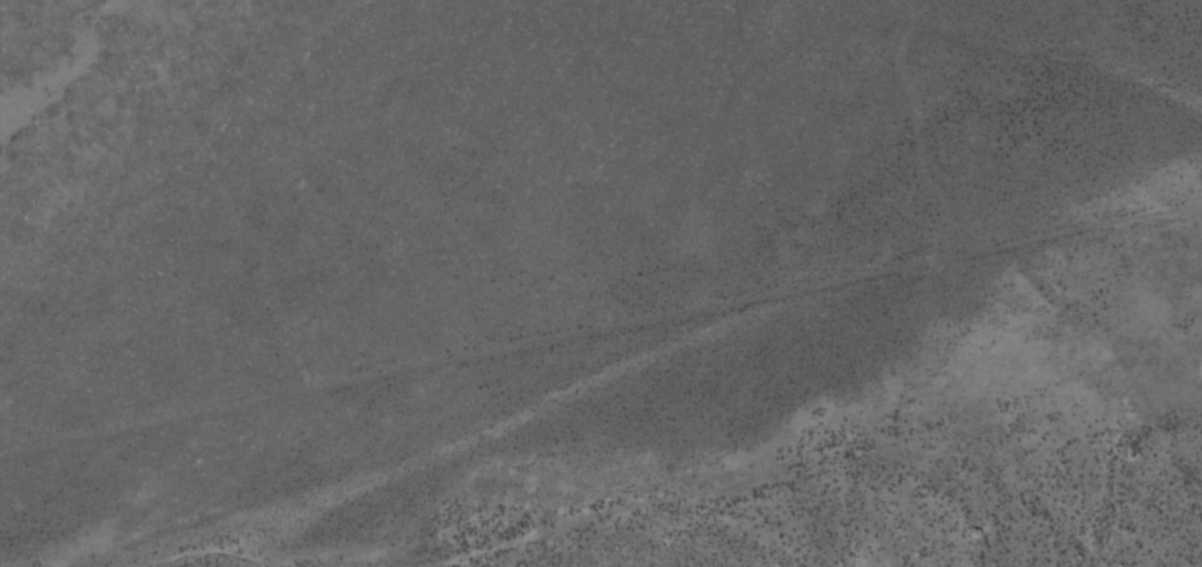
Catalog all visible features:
road: (600, 371)

